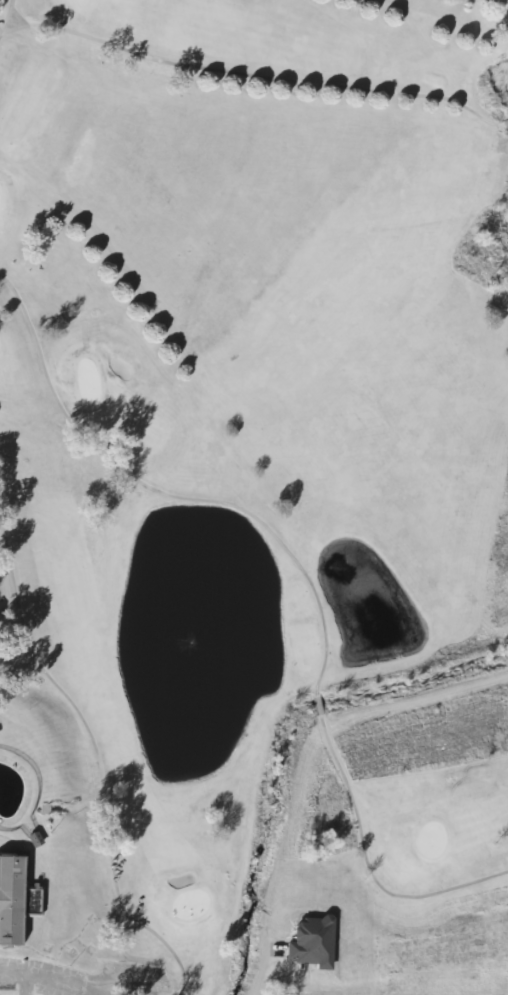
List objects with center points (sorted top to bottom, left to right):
building: (8, 899)
building: (306, 941)
road: (28, 972)

